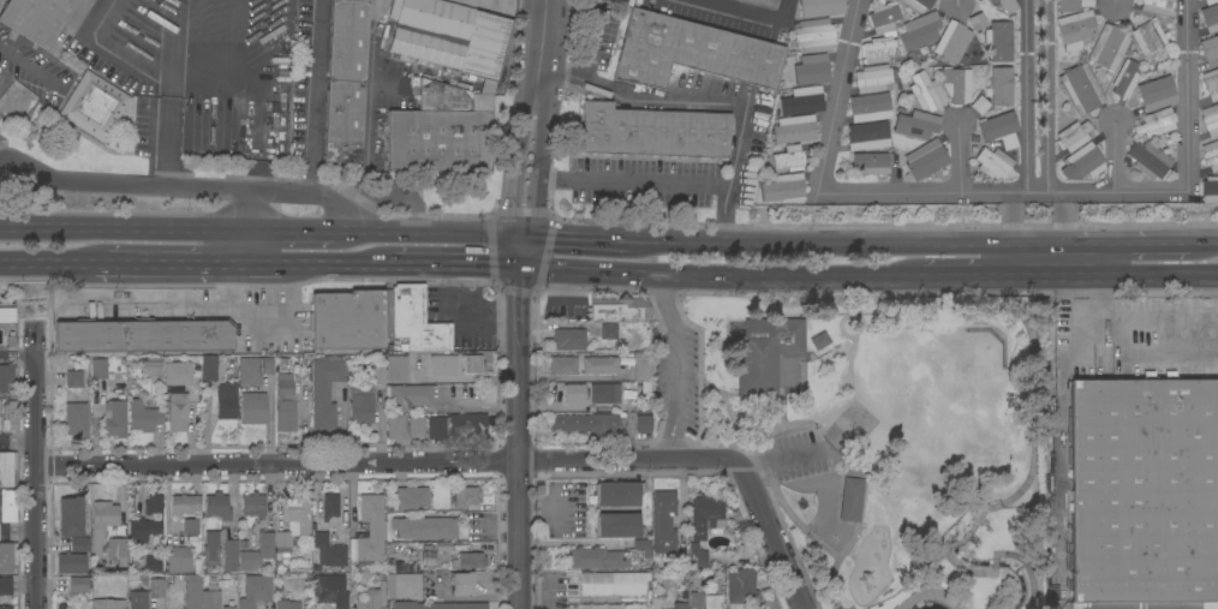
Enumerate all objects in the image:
building: (890, 0)
building: (879, 1)
road: (1115, 1)
building: (1211, 1)
building: (763, 2)
building: (919, 4)
building: (1005, 5)
building: (1071, 5)
road: (961, 6)
building: (1157, 6)
building: (819, 7)
road: (746, 12)
building: (1210, 17)
building: (36, 18)
building: (883, 18)
building: (978, 24)
building: (1075, 29)
building: (920, 31)
building: (449, 35)
building: (813, 35)
building: (1150, 40)
building: (1001, 41)
building: (951, 43)
road: (592, 47)
building: (1109, 47)
road: (542, 48)
building: (878, 49)
building: (1210, 50)
building: (692, 52)
road: (109, 56)
road: (28, 67)
building: (806, 72)
building: (872, 78)
building: (1124, 78)
road: (250, 79)
building: (346, 80)
building: (1211, 83)
building: (956, 84)
building: (1001, 86)
building: (1080, 89)
building: (926, 91)
road: (1190, 94)
road: (314, 95)
road: (711, 96)
road: (837, 96)
road: (1023, 96)
road: (1047, 96)
building: (1153, 96)
building: (801, 100)
building: (979, 105)
building: (94, 106)
building: (870, 107)
building: (1210, 119)
building: (1156, 123)
building: (915, 124)
building: (793, 129)
building: (999, 129)
building: (441, 130)
building: (652, 131)
building: (867, 136)
building: (1073, 136)
road: (169, 142)
building: (1211, 155)
building: (924, 156)
road: (1115, 156)
road: (962, 157)
building: (789, 159)
building: (1148, 160)
building: (1085, 161)
road: (4, 162)
building: (871, 162)
building: (993, 163)
road: (517, 166)
road: (541, 169)
road: (256, 175)
road: (634, 181)
road: (192, 187)
building: (783, 189)
building: (1210, 189)
road: (1003, 192)
road: (1009, 220)
road: (1065, 220)
road: (120, 228)
road: (287, 233)
road: (428, 238)
traffic signals: (523, 240)
road: (575, 241)
road: (692, 244)
road: (1204, 246)
road: (237, 247)
road: (882, 247)
road: (1171, 247)
road: (1037, 249)
road: (1098, 249)
road: (1141, 249)
road: (521, 253)
road: (47, 263)
road: (163, 263)
road: (258, 263)
road: (1009, 263)
road: (1065, 263)
road: (334, 264)
road: (453, 265)
traffic signals: (521, 268)
road: (718, 277)
road: (963, 277)
road: (1113, 277)
road: (519, 291)
road: (173, 306)
building: (7, 309)
building: (619, 310)
road: (465, 316)
building: (347, 320)
building: (414, 322)
building: (608, 330)
building: (142, 335)
building: (568, 339)
building: (819, 340)
building: (765, 352)
road: (17, 354)
road: (1148, 356)
building: (472, 364)
building: (443, 365)
building: (562, 365)
building: (599, 365)
building: (640, 366)
building: (98, 368)
building: (150, 368)
building: (209, 368)
road: (669, 368)
building: (253, 369)
building: (396, 369)
building: (5, 376)
building: (177, 376)
building: (73, 380)
building: (285, 384)
building: (326, 389)
building: (574, 394)
building: (604, 394)
building: (407, 396)
building: (364, 399)
building: (226, 401)
road: (478, 406)
building: (252, 408)
building: (177, 411)
building: (286, 414)
building: (8, 416)
building: (143, 416)
building: (76, 418)
building: (115, 418)
building: (0, 423)
building: (585, 424)
building: (643, 424)
building: (467, 425)
building: (395, 426)
building: (435, 426)
building: (416, 428)
park: (870, 434)
road: (18, 441)
road: (783, 458)
road: (628, 459)
road: (521, 461)
road: (279, 462)
road: (36, 467)
building: (7, 468)
building: (617, 492)
building: (1145, 494)
building: (466, 496)
building: (411, 497)
building: (850, 500)
building: (184, 503)
building: (252, 504)
building: (8, 506)
building: (216, 506)
building: (330, 506)
road: (550, 512)
building: (103, 515)
building: (705, 515)
building: (71, 517)
building: (148, 520)
building: (663, 521)
building: (293, 524)
road: (494, 524)
building: (617, 525)
building: (190, 526)
building: (426, 527)
building: (371, 530)
road: (18, 531)
road: (770, 533)
building: (441, 547)
building: (117, 549)
building: (257, 551)
building: (329, 551)
building: (210, 555)
building: (697, 556)
building: (7, 557)
building: (597, 557)
building: (179, 560)
building: (470, 560)
building: (71, 562)
building: (155, 566)
building: (613, 583)
building: (79, 584)
building: (462, 584)
building: (404, 585)
building: (5, 586)
building: (740, 587)
building: (156, 589)
building: (192, 591)
building: (255, 591)
building: (329, 592)
building: (372, 596)
building: (210, 597)
road: (548, 597)
building: (138, 599)
building: (705, 601)
building: (770, 603)
building: (108, 604)
building: (286, 604)
building: (1046, 604)
building: (437, 605)
building: (613, 605)
building: (680, 605)
building: (6, 607)
building: (228, 608)

